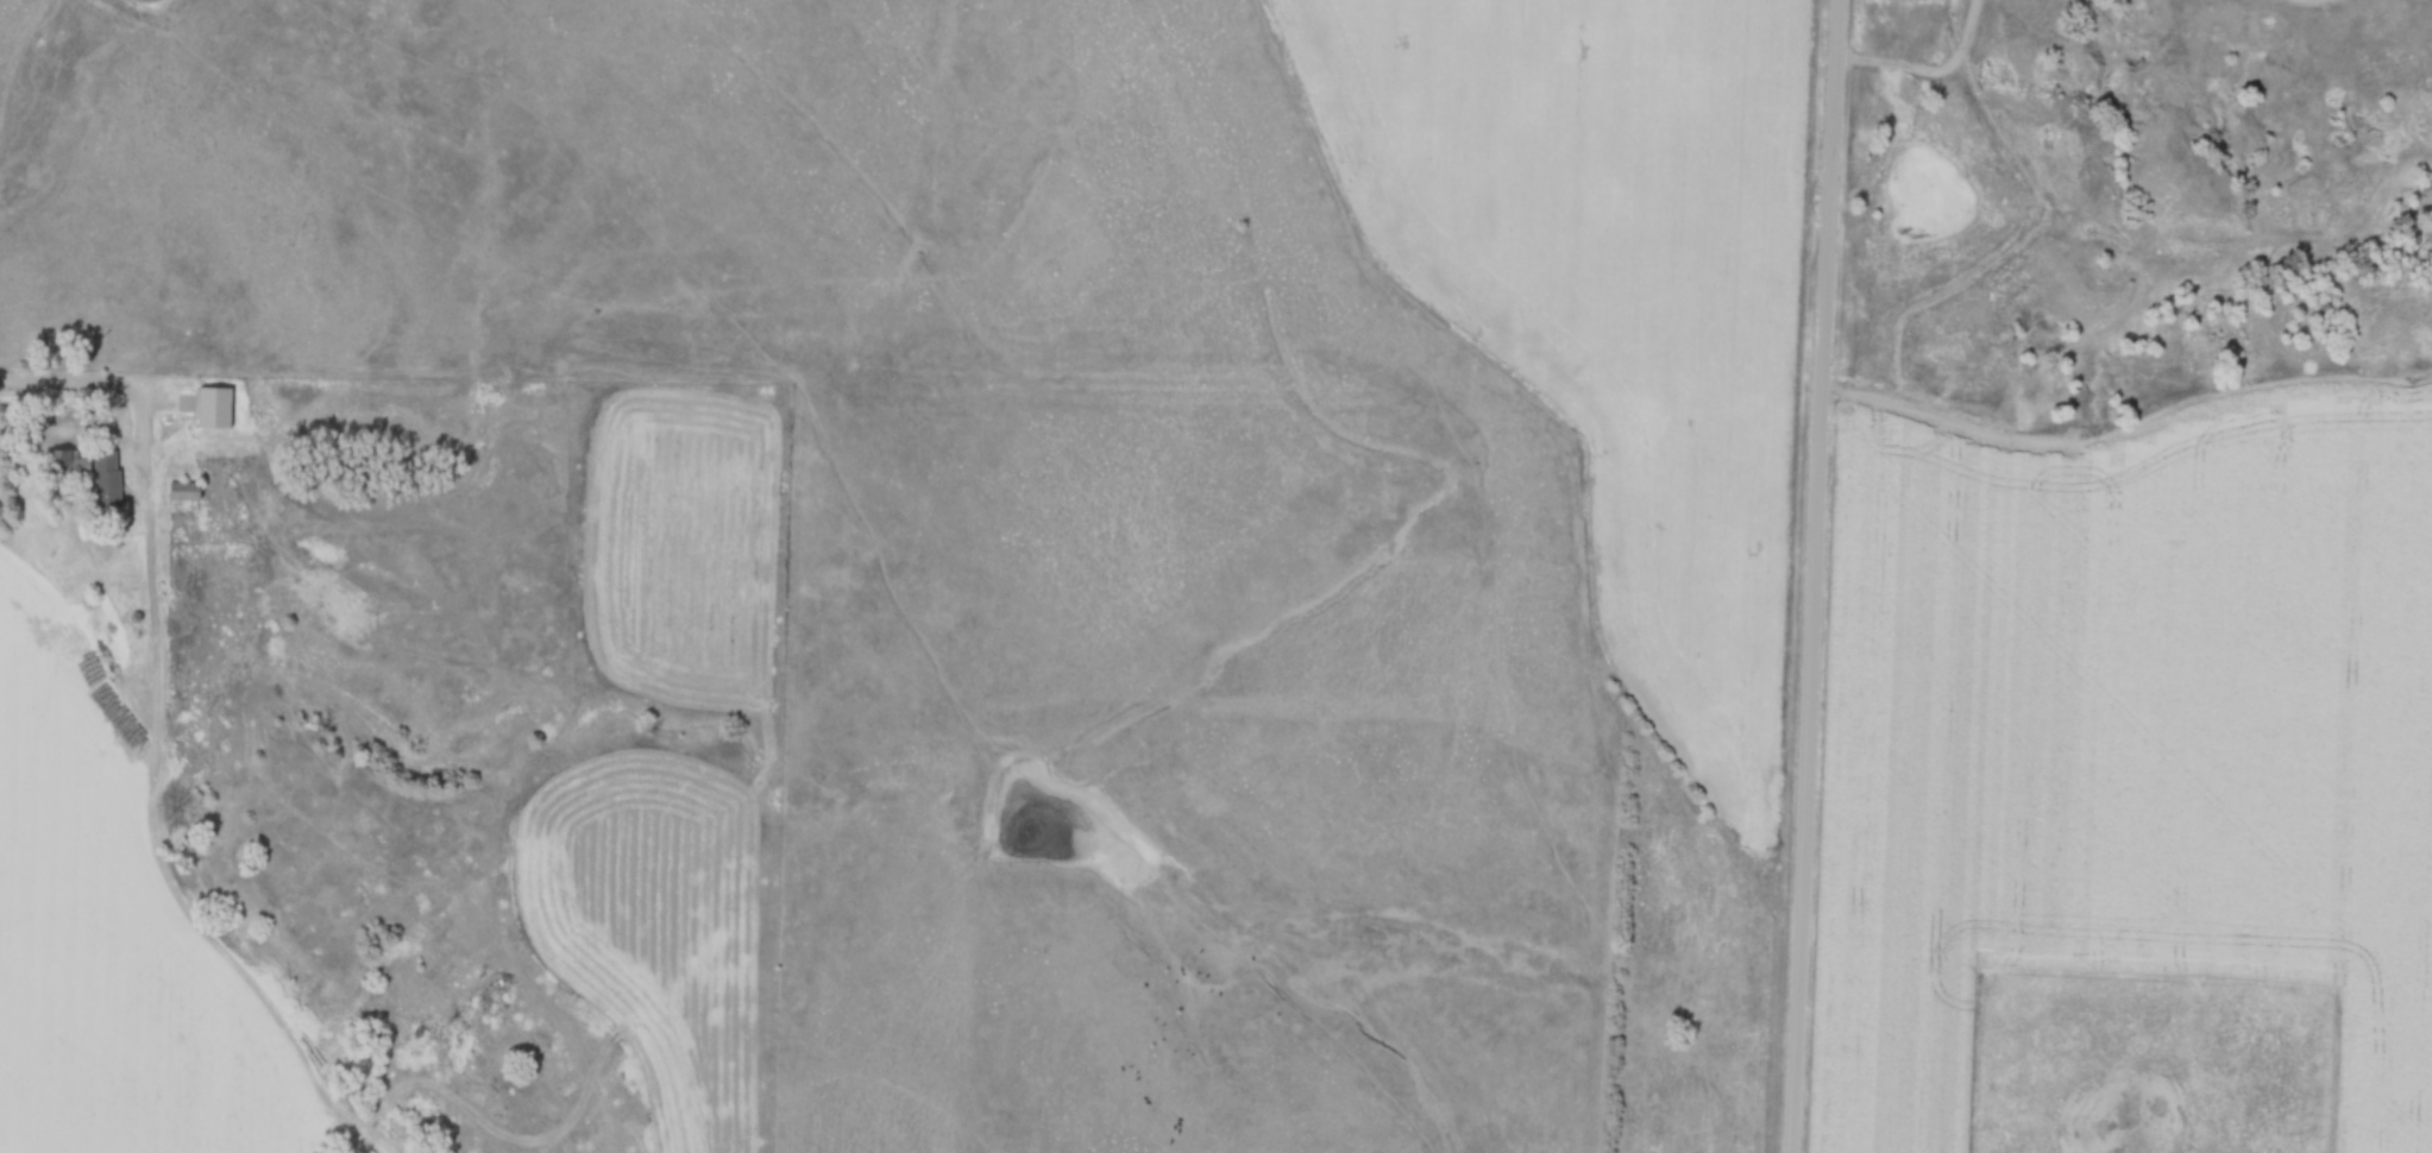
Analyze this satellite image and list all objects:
crop: (1619, 296)
road: (105, 379)
building: (67, 465)
building: (105, 479)
building: (182, 492)
crop: (689, 544)
road: (1815, 575)
crop: (660, 925)
crop: (108, 928)

